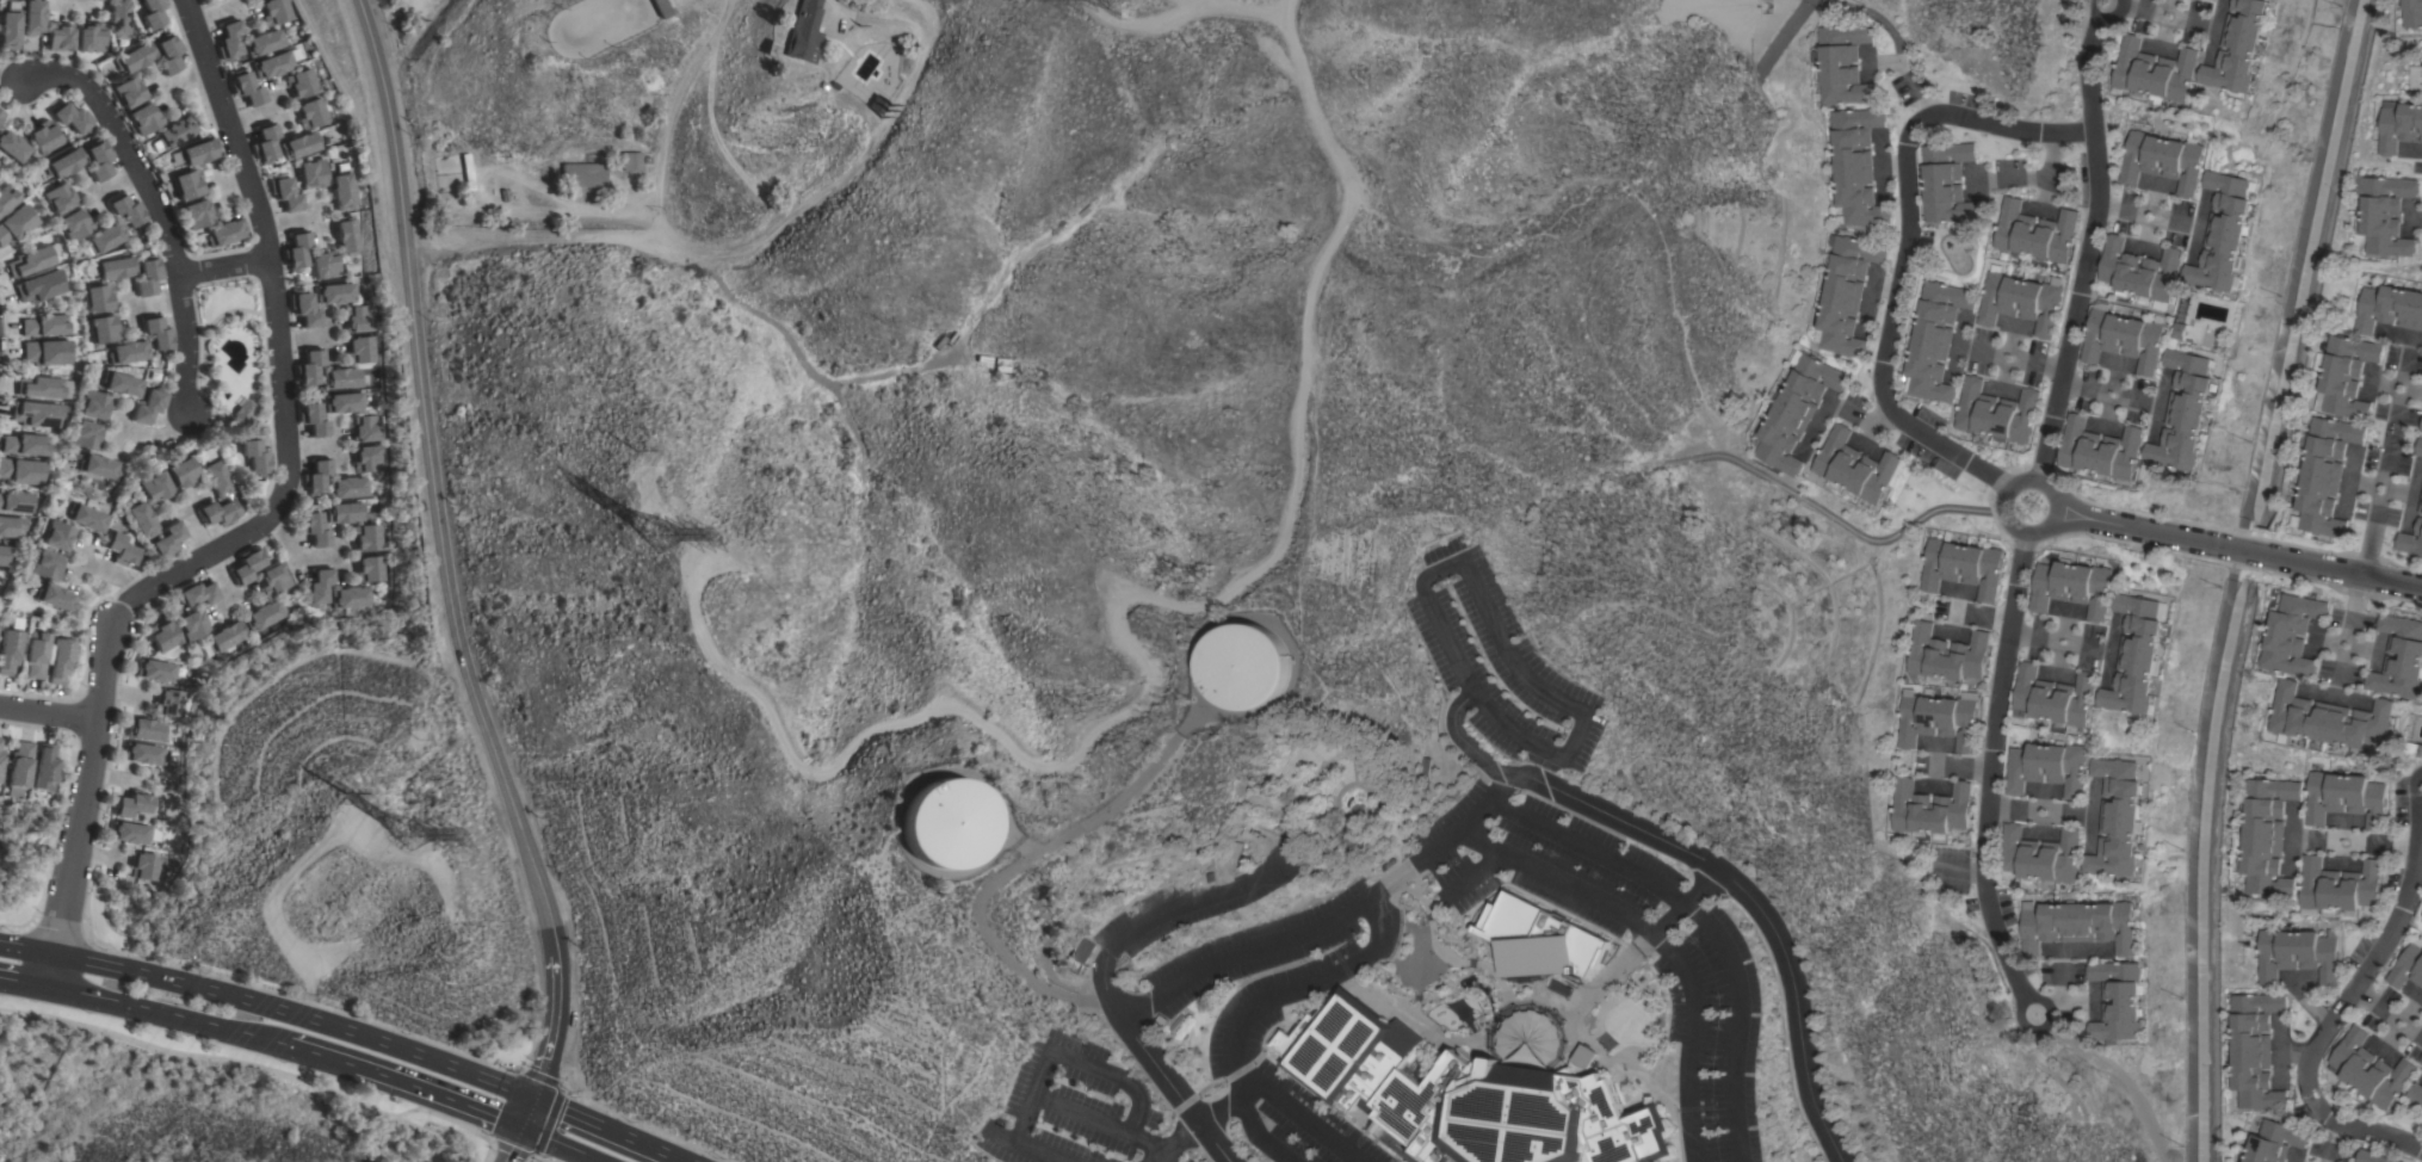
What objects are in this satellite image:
building: (103, 0)
road: (75, 2)
road: (73, 5)
building: (661, 8)
building: (273, 11)
road: (2158, 11)
road: (216, 12)
building: (2412, 12)
building: (152, 13)
road: (2103, 14)
building: (32, 18)
building: (117, 18)
building: (8, 29)
building: (803, 32)
building: (60, 37)
building: (91, 37)
road: (412, 38)
building: (229, 41)
building: (264, 42)
building: (2239, 47)
building: (168, 55)
building: (134, 57)
building: (1842, 63)
building: (271, 64)
building: (2155, 70)
road: (1914, 79)
road: (13, 80)
road: (187, 80)
building: (299, 84)
road: (162, 89)
building: (247, 89)
building: (129, 92)
building: (878, 104)
building: (310, 113)
building: (1, 115)
road: (253, 116)
road: (668, 116)
building: (72, 118)
building: (144, 118)
building: (2399, 124)
building: (175, 131)
building: (43, 137)
building: (265, 143)
building: (299, 146)
building: (13, 147)
building: (194, 153)
building: (2162, 160)
building: (99, 161)
building: (636, 161)
road: (1880, 162)
road: (1893, 162)
building: (64, 163)
building: (1855, 165)
road: (2047, 165)
building: (468, 172)
building: (311, 174)
building: (585, 175)
road: (2008, 179)
road: (235, 180)
building: (1946, 181)
building: (187, 184)
road: (118, 186)
building: (341, 191)
building: (285, 194)
building: (6, 198)
building: (60, 198)
road: (98, 198)
building: (126, 210)
building: (197, 214)
road: (2149, 214)
building: (2385, 214)
road: (317, 220)
road: (291, 222)
building: (16, 224)
building: (75, 224)
building: (2034, 231)
building: (2224, 231)
building: (225, 233)
building: (346, 235)
building: (106, 237)
road: (1905, 247)
road: (174, 248)
road: (2093, 249)
building: (296, 252)
road: (742, 252)
building: (30, 261)
building: (323, 264)
road: (229, 266)
building: (113, 268)
building: (2139, 271)
building: (147, 276)
road: (1884, 284)
building: (38, 288)
building: (335, 293)
building: (1843, 293)
building: (99, 298)
road: (1866, 301)
building: (2021, 301)
road: (160, 303)
road: (134, 308)
building: (2390, 308)
building: (304, 310)
building: (357, 320)
building: (44, 326)
building: (104, 329)
building: (2181, 330)
building: (157, 334)
road: (329, 334)
building: (2125, 336)
road: (305, 339)
building: (1933, 339)
building: (360, 350)
building: (47, 352)
building: (128, 352)
road: (283, 357)
road: (2018, 358)
building: (308, 367)
building: (2344, 375)
building: (341, 378)
building: (122, 385)
building: (44, 388)
road: (2106, 391)
building: (344, 402)
building: (94, 406)
building: (149, 406)
building: (1794, 408)
building: (2186, 410)
building: (243, 412)
road: (1853, 412)
building: (1996, 412)
building: (35, 414)
road: (1883, 415)
building: (313, 420)
road: (1816, 424)
building: (2421, 426)
building: (367, 427)
road: (121, 428)
building: (86, 435)
road: (338, 439)
road: (314, 444)
building: (25, 445)
building: (2418, 447)
building: (2100, 449)
building: (255, 457)
building: (370, 461)
building: (1853, 465)
building: (98, 466)
building: (20, 471)
building: (180, 474)
building: (2323, 474)
building: (317, 477)
building: (214, 478)
building: (153, 488)
building: (351, 488)
road: (2003, 500)
building: (16, 501)
road: (191, 505)
building: (2421, 505)
building: (347, 512)
building: (217, 513)
road: (2378, 517)
building: (85, 518)
building: (141, 521)
building: (14, 527)
building: (316, 530)
power tower: (649, 533)
building: (56, 536)
building: (370, 537)
building: (2411, 539)
building: (166, 542)
building: (119, 550)
road: (2237, 551)
road: (214, 552)
building: (4, 555)
road: (340, 556)
road: (444, 556)
road: (297, 558)
building: (45, 565)
building: (248, 565)
building: (1961, 565)
building: (372, 569)
road: (110, 573)
building: (274, 580)
building: (2072, 587)
building: (321, 588)
building: (197, 593)
building: (55, 598)
building: (353, 598)
road: (237, 600)
building: (267, 614)
road: (1973, 617)
building: (193, 624)
road: (1491, 625)
building: (2291, 635)
building: (163, 636)
road: (2032, 636)
building: (228, 639)
road: (2056, 639)
road: (2086, 645)
building: (8, 651)
building: (1946, 654)
building: (2137, 654)
building: (35, 655)
building: (2399, 657)
building: (60, 661)
building: (1246, 665)
building: (156, 670)
road: (124, 694)
building: (2053, 698)
building: (169, 703)
road: (48, 713)
building: (1939, 718)
building: (2329, 718)
building: (147, 730)
building: (0, 741)
building: (2412, 747)
building: (143, 754)
building: (1, 756)
building: (45, 767)
building: (2047, 767)
road: (1960, 768)
road: (1991, 768)
building: (19, 769)
building: (1423, 773)
building: (2344, 796)
building: (134, 805)
building: (1929, 808)
road: (2031, 811)
road: (78, 812)
building: (2119, 817)
building: (950, 823)
building: (129, 833)
building: (2268, 834)
power tower: (397, 840)
road: (2377, 840)
building: (1238, 851)
building: (2040, 855)
building: (143, 866)
road: (1013, 870)
road: (1729, 879)
building: (2340, 888)
road: (1164, 911)
road: (1335, 917)
building: (1503, 917)
road: (1709, 921)
building: (2080, 925)
road: (27, 929)
road: (1645, 940)
building: (1549, 946)
building: (1081, 951)
building: (2298, 953)
road: (1678, 960)
building: (2409, 965)
road: (1310, 982)
road: (23, 984)
road: (289, 996)
road: (2025, 999)
building: (2117, 1000)
road: (2313, 1003)
road: (2380, 1006)
road: (270, 1008)
road: (167, 1013)
building: (1625, 1022)
building: (1176, 1024)
road: (2327, 1024)
building: (1526, 1037)
building: (2255, 1050)
road: (2297, 1051)
road: (1057, 1053)
road: (322, 1057)
road: (199, 1058)
building: (2370, 1070)
road: (2121, 1080)
road: (1175, 1087)
building: (2416, 1093)
building: (1466, 1095)
road: (438, 1098)
traffic signals: (532, 1101)
road: (1223, 1110)
road: (1076, 1113)
road: (1304, 1113)
road: (526, 1114)
road: (453, 1123)
road: (545, 1123)
traffic signals: (520, 1129)
road: (606, 1131)
road: (430, 1135)
road: (1176, 1141)
building: (2275, 1142)
road: (2330, 1143)
road: (512, 1145)
road: (556, 1145)
building: (2373, 1156)
road: (1154, 1158)

